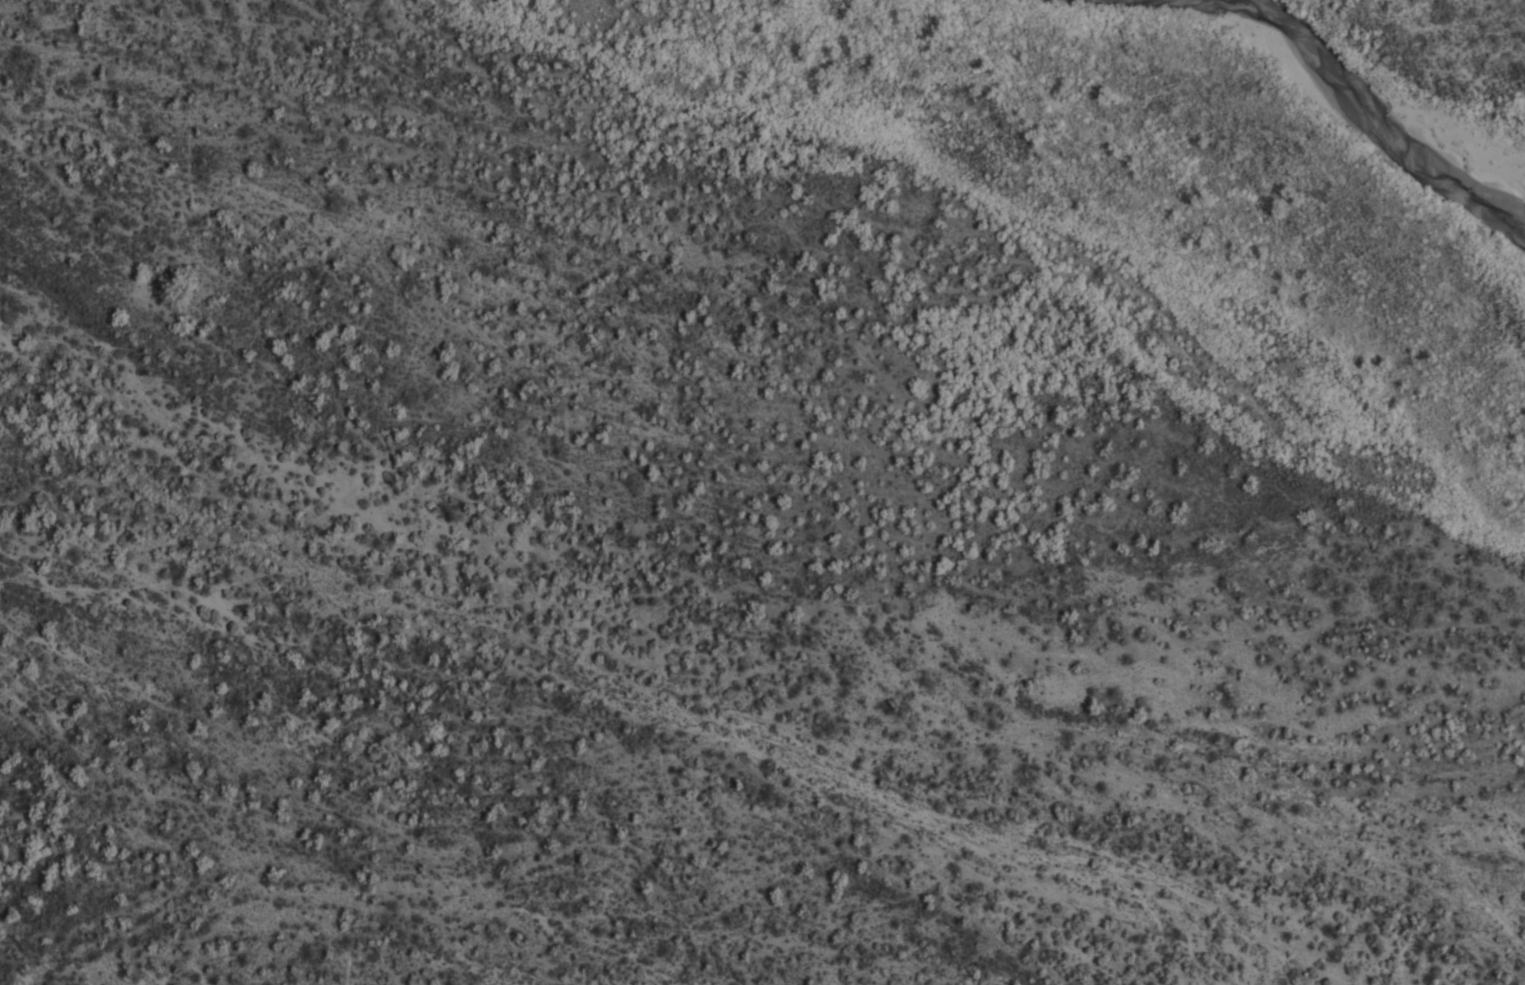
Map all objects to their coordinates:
river: (1367, 88)

